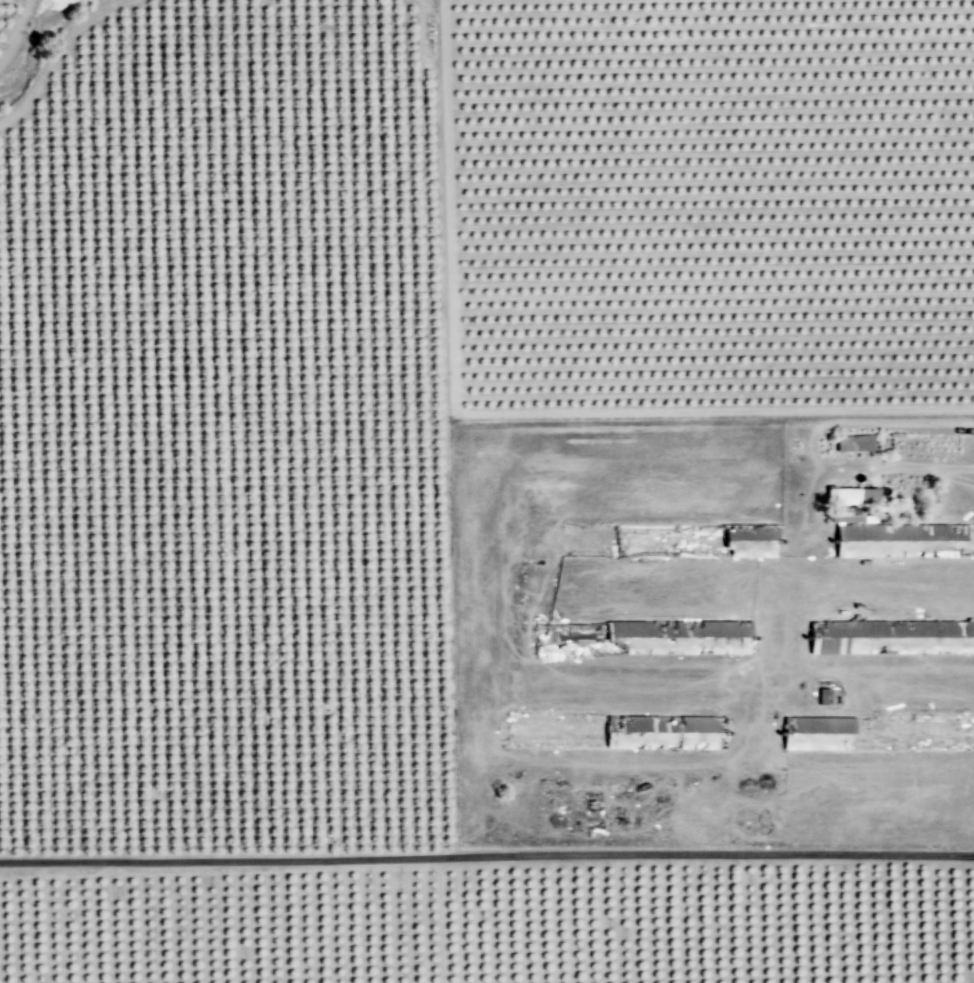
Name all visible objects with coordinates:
road: (16, 32)
road: (509, 412)
building: (855, 444)
road: (930, 464)
building: (855, 500)
building: (697, 540)
building: (905, 540)
building: (643, 637)
building: (891, 637)
building: (665, 732)
road: (486, 855)
road: (439, 920)

